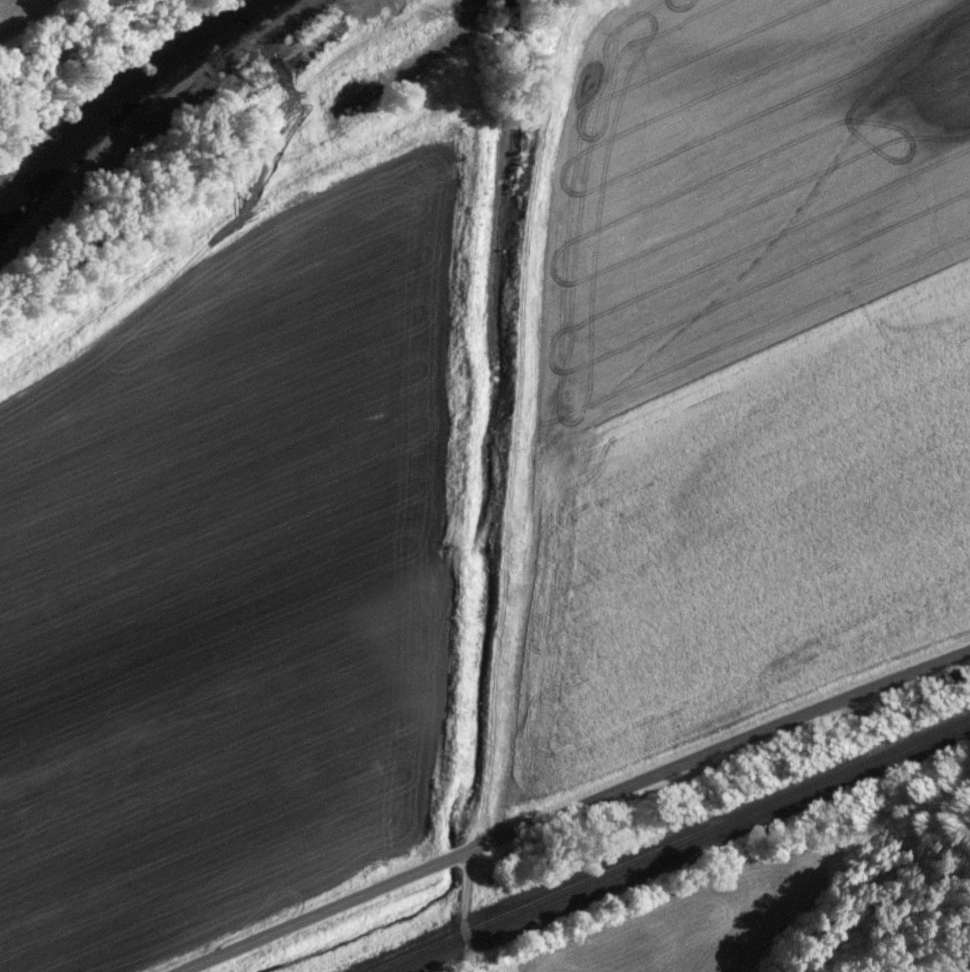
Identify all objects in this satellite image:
road: (574, 807)
railway: (668, 844)
railway: (682, 850)
road: (466, 912)

